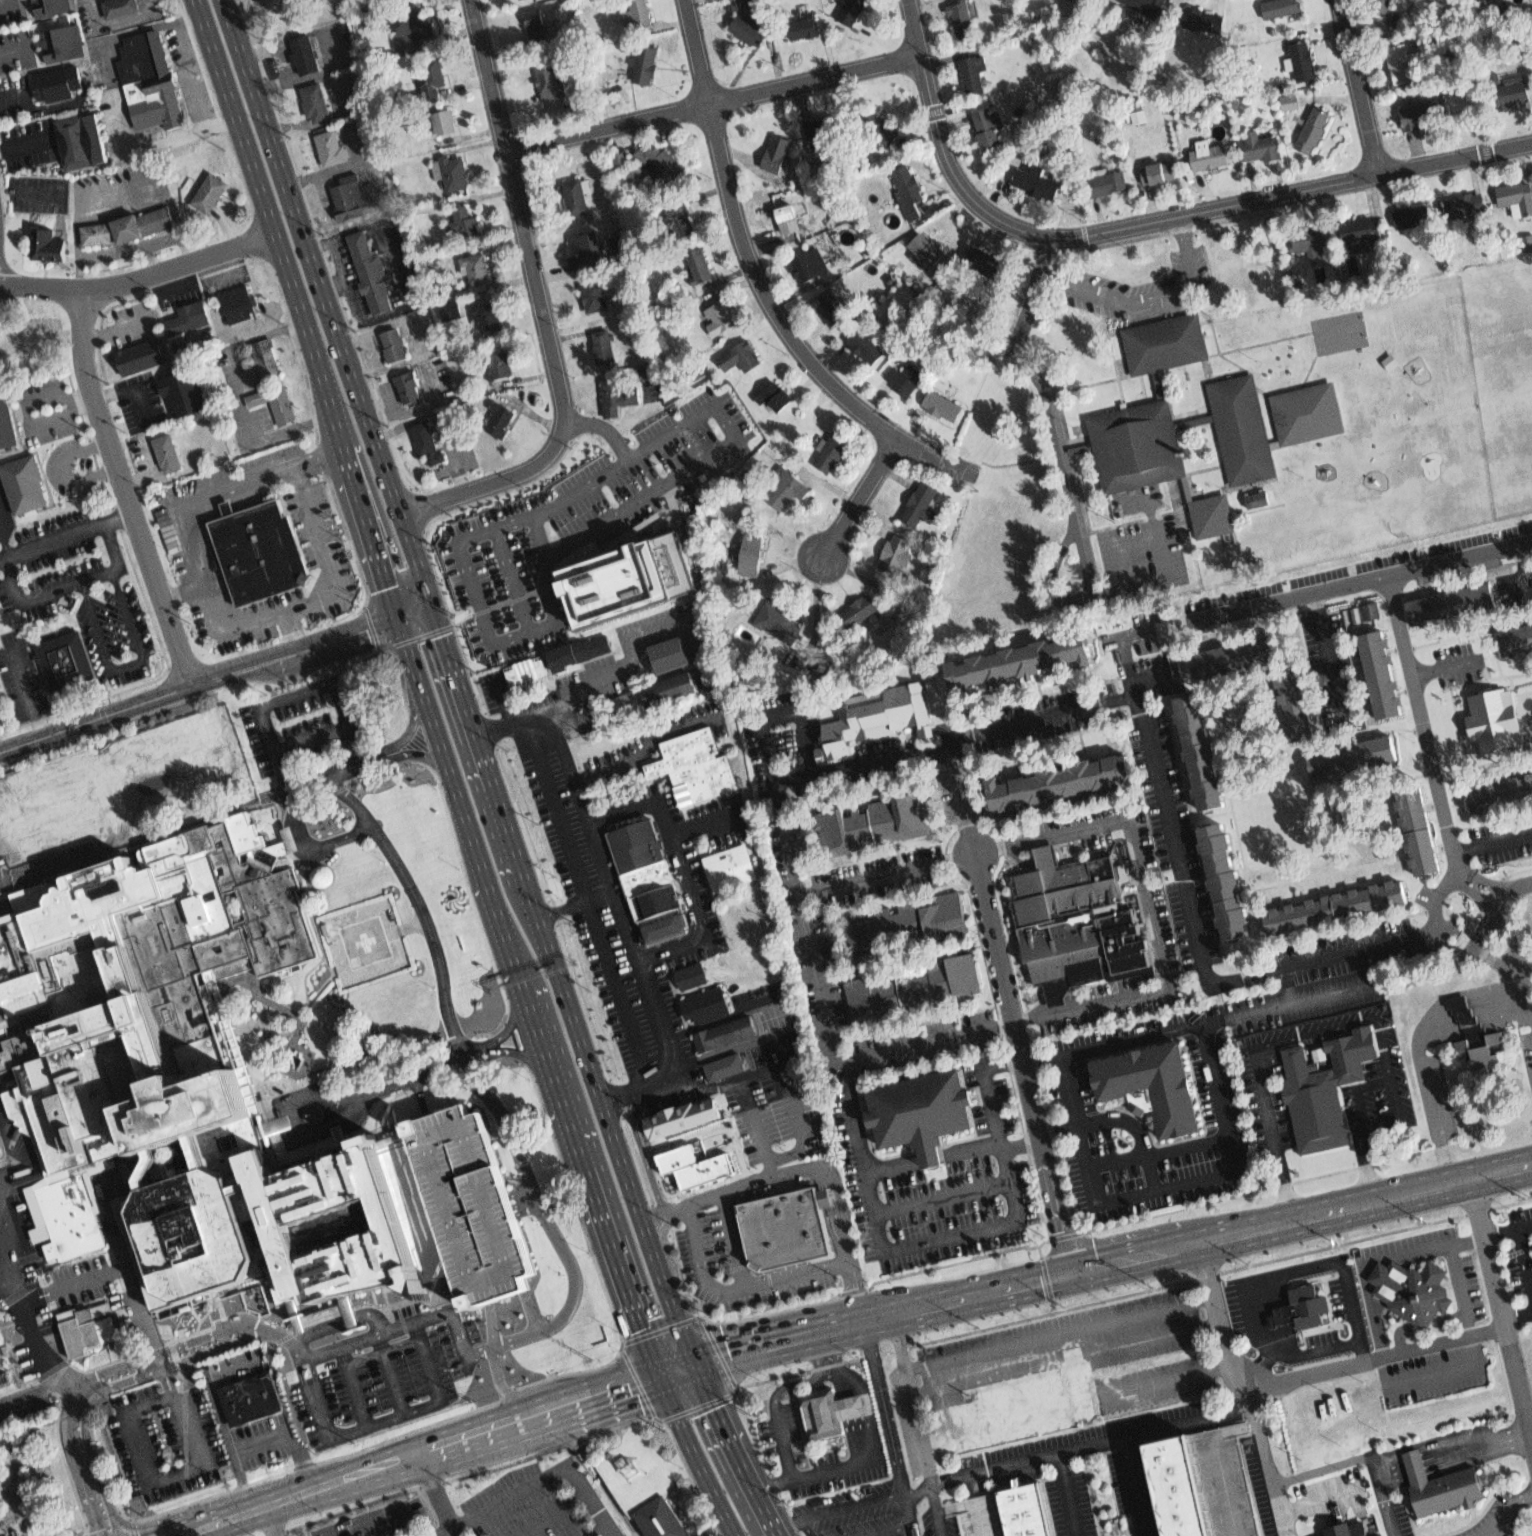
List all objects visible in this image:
road: (6, 1)
building: (520, 1)
building: (752, 4)
building: (1383, 5)
building: (1144, 7)
building: (1281, 7)
building: (48, 8)
building: (118, 9)
building: (855, 12)
building: (641, 13)
building: (1203, 20)
building: (962, 21)
building: (410, 27)
building: (535, 29)
building: (803, 29)
building: (750, 33)
building: (58, 47)
road: (12, 50)
building: (303, 53)
road: (287, 61)
building: (1303, 64)
building: (642, 66)
building: (1399, 66)
road: (337, 70)
building: (432, 70)
building: (972, 77)
building: (149, 81)
building: (550, 84)
building: (59, 86)
road: (1360, 87)
road: (13, 95)
building: (1510, 96)
road: (713, 100)
building: (316, 101)
building: (1289, 102)
building: (1422, 109)
building: (442, 122)
road: (322, 123)
building: (824, 127)
building: (890, 132)
building: (989, 132)
building: (1316, 133)
building: (84, 142)
building: (330, 145)
road: (26, 146)
building: (1260, 148)
building: (775, 158)
building: (621, 160)
building: (1210, 160)
building: (661, 162)
road: (347, 168)
building: (822, 169)
building: (453, 173)
building: (1161, 176)
building: (1112, 185)
building: (1036, 186)
building: (209, 189)
building: (347, 193)
building: (907, 195)
road: (30, 196)
building: (1518, 198)
building: (575, 199)
road: (75, 204)
building: (1467, 205)
road: (362, 217)
road: (269, 218)
building: (680, 219)
building: (1414, 220)
building: (466, 223)
road: (1145, 224)
building: (788, 225)
building: (128, 226)
building: (1364, 232)
building: (1527, 242)
building: (49, 243)
building: (1309, 243)
building: (585, 247)
building: (619, 248)
building: (925, 255)
building: (985, 257)
building: (700, 264)
building: (475, 265)
building: (810, 265)
building: (368, 270)
road: (226, 277)
road: (140, 278)
road: (763, 285)
road: (175, 288)
road: (334, 289)
building: (594, 296)
road: (1146, 298)
building: (236, 299)
road: (321, 302)
road: (542, 307)
building: (451, 310)
building: (831, 310)
building: (189, 317)
road: (376, 317)
building: (487, 317)
building: (718, 319)
road: (117, 333)
road: (424, 333)
building: (394, 343)
building: (1165, 343)
building: (865, 344)
building: (605, 348)
building: (24, 349)
building: (142, 353)
building: (739, 357)
building: (499, 366)
building: (906, 375)
building: (272, 383)
building: (407, 387)
road: (130, 388)
building: (184, 388)
building: (772, 393)
building: (613, 395)
building: (943, 405)
road: (26, 406)
road: (420, 407)
road: (644, 409)
building: (1307, 409)
building: (8, 416)
building: (501, 417)
road: (382, 420)
building: (1243, 427)
road: (251, 435)
building: (427, 441)
building: (1138, 441)
building: (831, 451)
building: (170, 453)
road: (453, 453)
road: (318, 456)
road: (345, 459)
road: (148, 469)
road: (57, 475)
building: (26, 484)
road: (1073, 484)
road: (126, 489)
building: (784, 489)
road: (857, 497)
building: (1255, 500)
road: (1147, 503)
building: (921, 505)
building: (1212, 515)
road: (66, 535)
road: (537, 537)
road: (4, 543)
road: (373, 548)
building: (262, 549)
building: (898, 551)
building: (752, 554)
road: (547, 556)
road: (1459, 559)
building: (630, 575)
road: (510, 581)
road: (70, 585)
road: (184, 589)
building: (1449, 598)
traffic signals: (430, 604)
road: (412, 610)
building: (859, 611)
building: (1365, 612)
building: (781, 620)
road: (290, 633)
road: (223, 636)
building: (1516, 637)
building: (578, 649)
building: (670, 652)
building: (1231, 653)
road: (407, 654)
building: (1021, 658)
road: (1327, 658)
building: (64, 659)
road: (126, 664)
road: (628, 665)
road: (1442, 665)
road: (16, 667)
building: (527, 670)
building: (1389, 670)
road: (197, 687)
building: (1, 690)
road: (323, 690)
building: (657, 692)
building: (1294, 699)
road: (503, 700)
building: (874, 716)
road: (1056, 716)
building: (1496, 718)
road: (402, 728)
road: (471, 739)
road: (154, 743)
building: (1203, 744)
road: (646, 745)
road: (1428, 750)
road: (414, 754)
building: (1347, 758)
building: (697, 764)
road: (72, 767)
building: (180, 776)
building: (1059, 780)
road: (1162, 785)
road: (456, 786)
building: (1501, 791)
building: (875, 821)
road: (118, 825)
road: (51, 827)
road: (705, 827)
building: (1420, 829)
road: (164, 830)
road: (1492, 843)
road: (311, 847)
road: (681, 866)
building: (645, 867)
building: (732, 867)
road: (889, 873)
building: (1224, 880)
road: (615, 894)
road: (1435, 899)
road: (305, 901)
road: (586, 904)
building: (1346, 904)
road: (1153, 905)
building: (944, 908)
road: (1496, 910)
building: (1077, 918)
road: (804, 919)
building: (870, 923)
road: (405, 927)
building: (663, 927)
road: (507, 937)
helipad: (364, 941)
airport: (365, 942)
road: (435, 953)
road: (308, 971)
building: (128, 973)
building: (693, 973)
building: (957, 975)
road: (1288, 983)
building: (869, 994)
building: (705, 999)
road: (1015, 1011)
road: (725, 1014)
road: (1336, 1023)
road: (296, 1028)
road: (501, 1030)
building: (727, 1031)
road: (1424, 1039)
building: (1483, 1047)
road: (510, 1051)
building: (723, 1065)
building: (1323, 1085)
building: (1147, 1086)
building: (923, 1110)
road: (604, 1114)
building: (686, 1115)
road: (1078, 1116)
road: (1122, 1120)
road: (297, 1123)
road: (998, 1140)
road: (802, 1143)
road: (1160, 1151)
building: (0, 1152)
building: (690, 1162)
road: (772, 1167)
road: (806, 1167)
road: (593, 1177)
road: (938, 1198)
building: (308, 1202)
building: (62, 1213)
road: (546, 1221)
building: (783, 1227)
road: (1506, 1231)
road: (732, 1239)
road: (922, 1242)
road: (1524, 1262)
road: (1095, 1263)
road: (5, 1266)
traffic signals: (1073, 1269)
road: (1291, 1272)
road: (741, 1287)
building: (1413, 1287)
road: (16, 1302)
building: (1308, 1305)
road: (1499, 1314)
road: (1516, 1317)
road: (415, 1320)
road: (245, 1321)
road: (1422, 1323)
building: (90, 1324)
road: (1059, 1332)
building: (1, 1340)
road: (331, 1349)
road: (828, 1350)
road: (1316, 1350)
traffic signals: (687, 1357)
road: (1374, 1358)
road: (1065, 1359)
road: (1383, 1370)
road: (394, 1372)
road: (1164, 1377)
road: (169, 1379)
road: (354, 1386)
road: (1244, 1386)
road: (34, 1390)
road: (775, 1398)
building: (248, 1400)
building: (1039, 1403)
building: (826, 1409)
road: (867, 1411)
road: (852, 1417)
road: (860, 1417)
road: (844, 1419)
road: (383, 1420)
road: (917, 1423)
road: (887, 1426)
road: (227, 1440)
road: (1091, 1445)
road: (1430, 1445)
road: (727, 1447)
road: (409, 1448)
road: (695, 1452)
road: (1451, 1452)
road: (1220, 1463)
road: (1454, 1464)
road: (1321, 1468)
road: (813, 1472)
road: (546, 1475)
building: (1440, 1483)
building: (1177, 1484)
road: (1134, 1487)
road: (436, 1493)
road: (917, 1493)
road: (1381, 1493)
road: (1068, 1494)
road: (1320, 1500)
road: (850, 1505)
road: (1507, 1512)
building: (1003, 1513)
building: (24, 1514)
road: (1333, 1517)
road: (271, 1518)
building: (657, 1518)
road: (785, 1527)
road: (804, 1527)
building: (1351, 1530)
road: (889, 1531)
road: (455, 1534)

